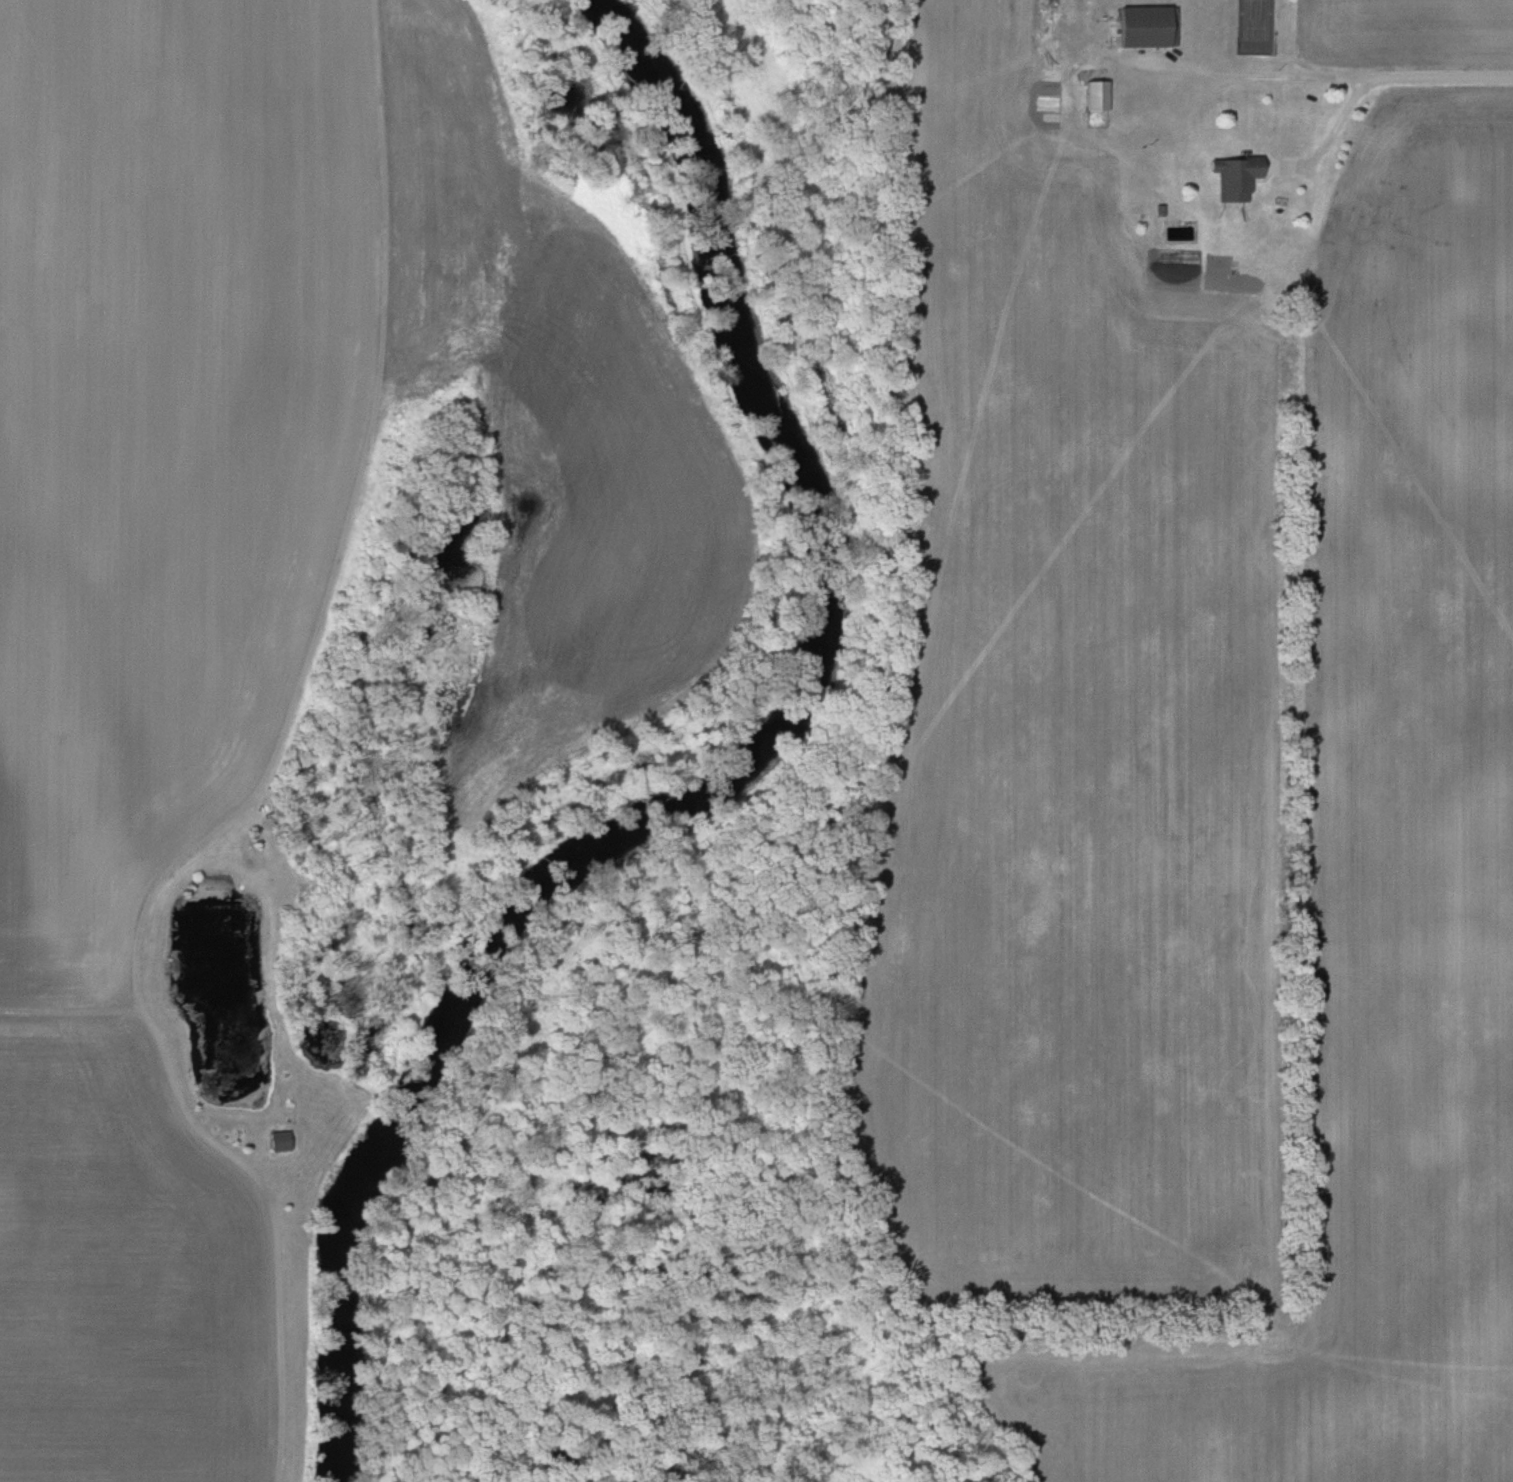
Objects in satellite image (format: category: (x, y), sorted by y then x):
building: (1145, 25)
road: (1250, 77)
road: (1376, 80)
building: (1095, 95)
building: (1233, 176)
river: (748, 778)
building: (278, 1141)

